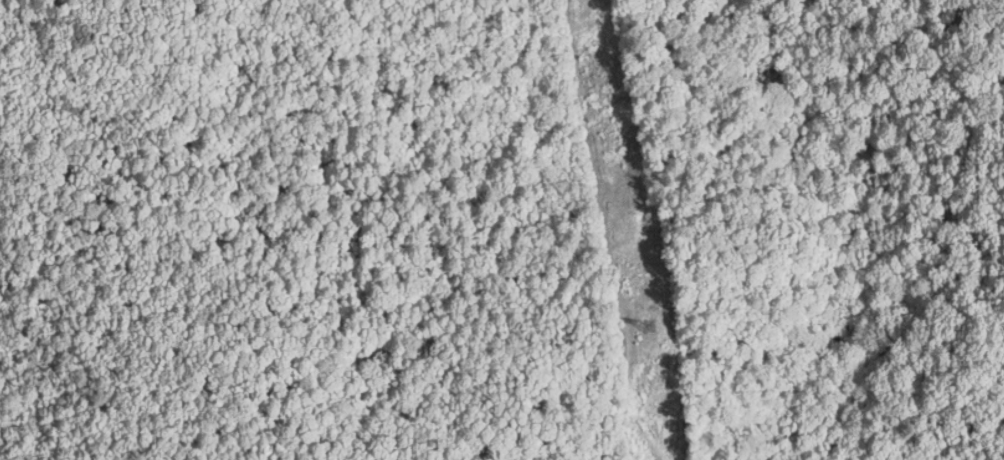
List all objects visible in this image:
power tower: (649, 328)

